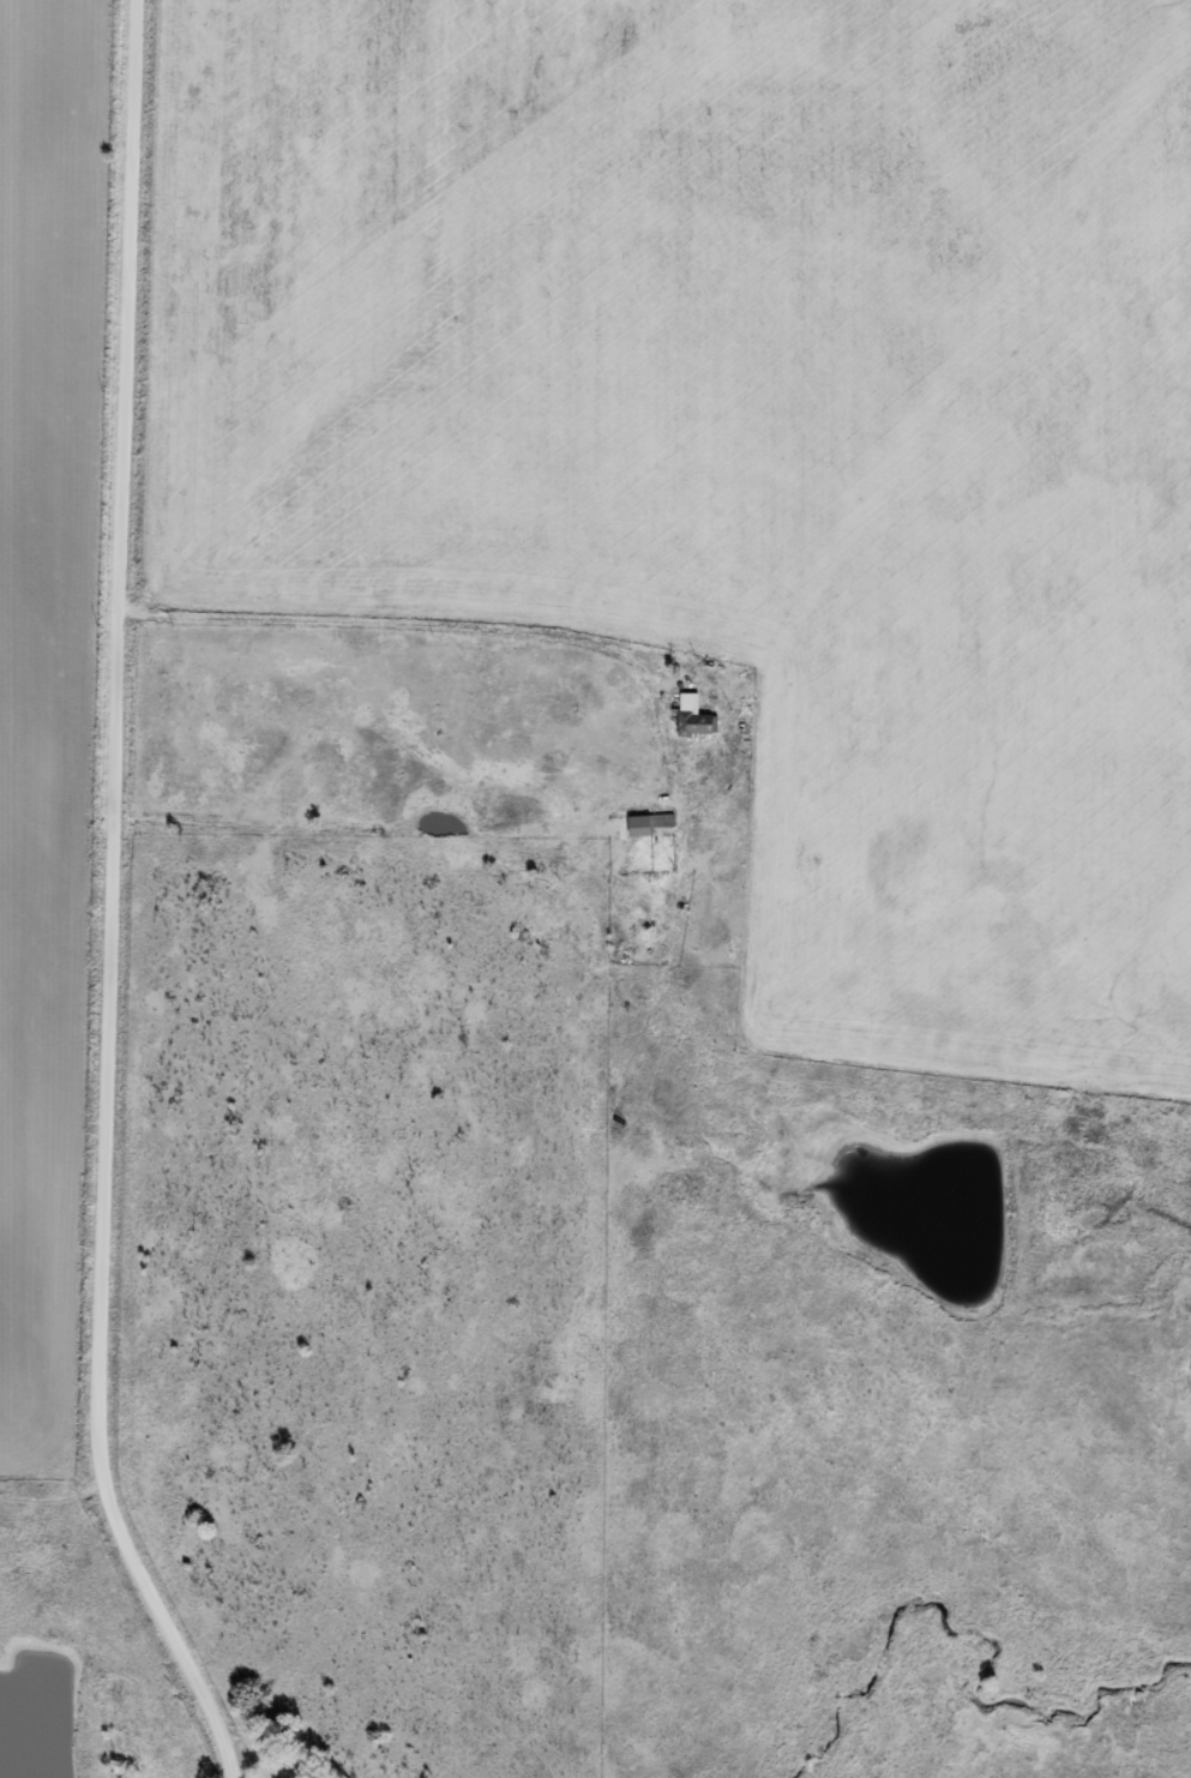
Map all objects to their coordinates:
road: (634, 695)
building: (691, 717)
building: (637, 827)
road: (119, 902)

